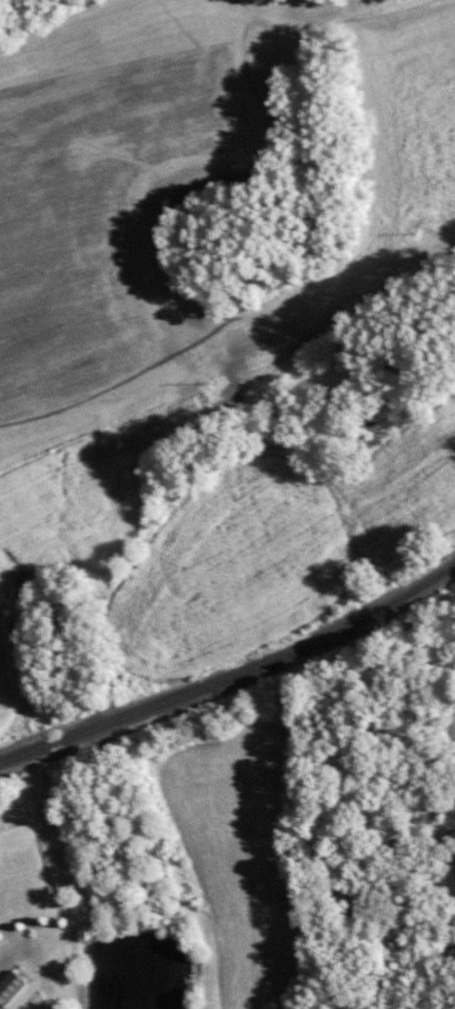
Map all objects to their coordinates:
railway: (233, 676)
building: (9, 985)

